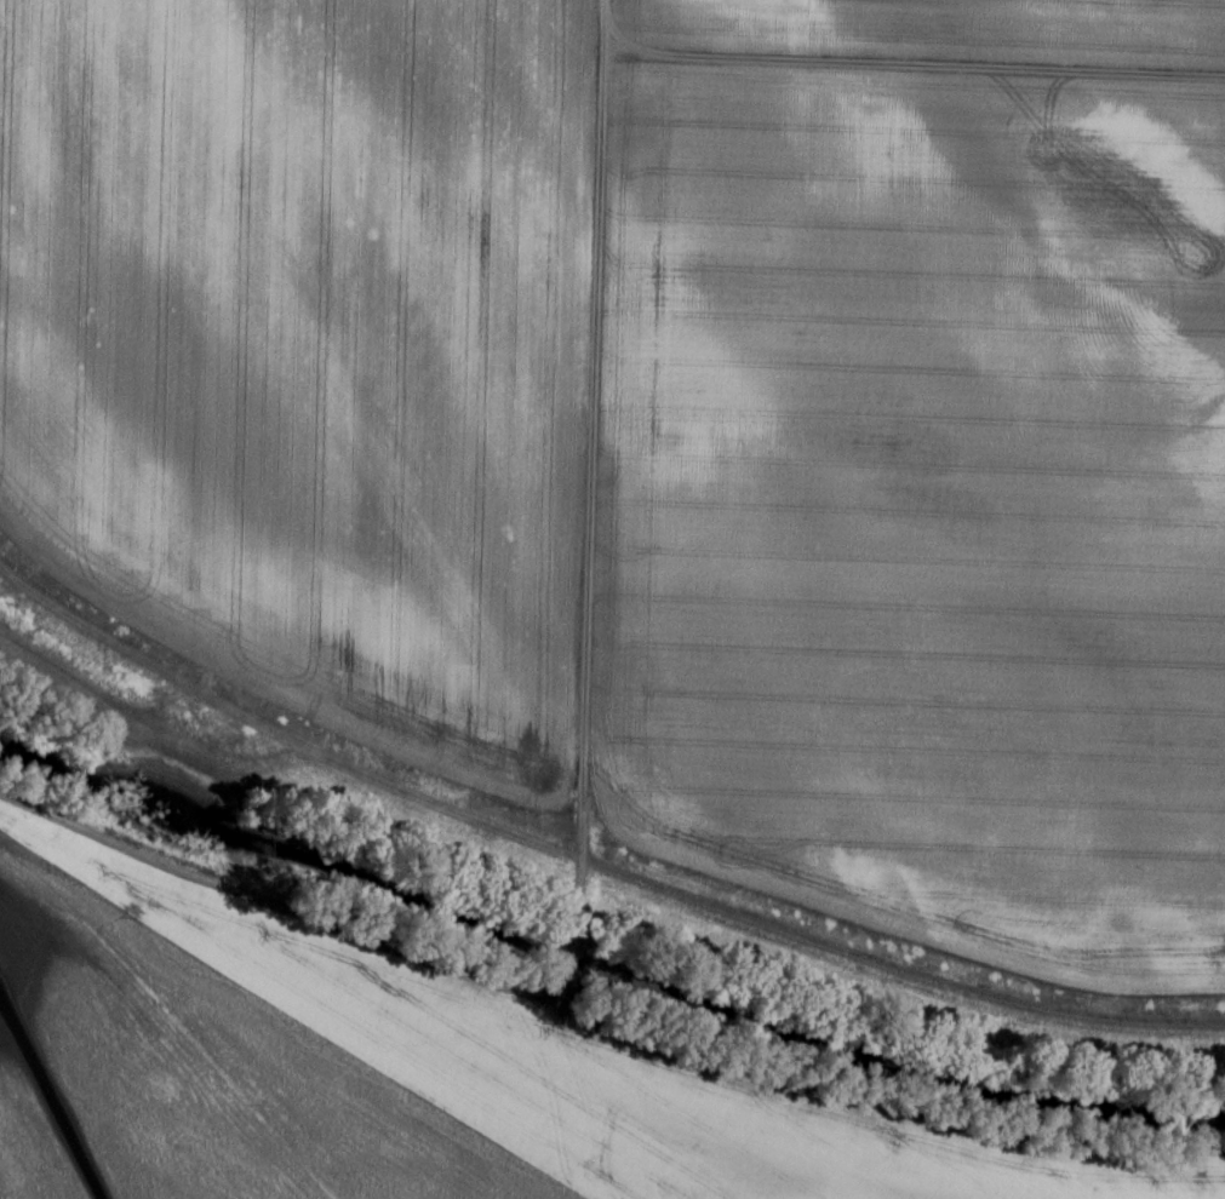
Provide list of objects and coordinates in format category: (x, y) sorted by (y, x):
road: (582, 784)
road: (588, 862)

